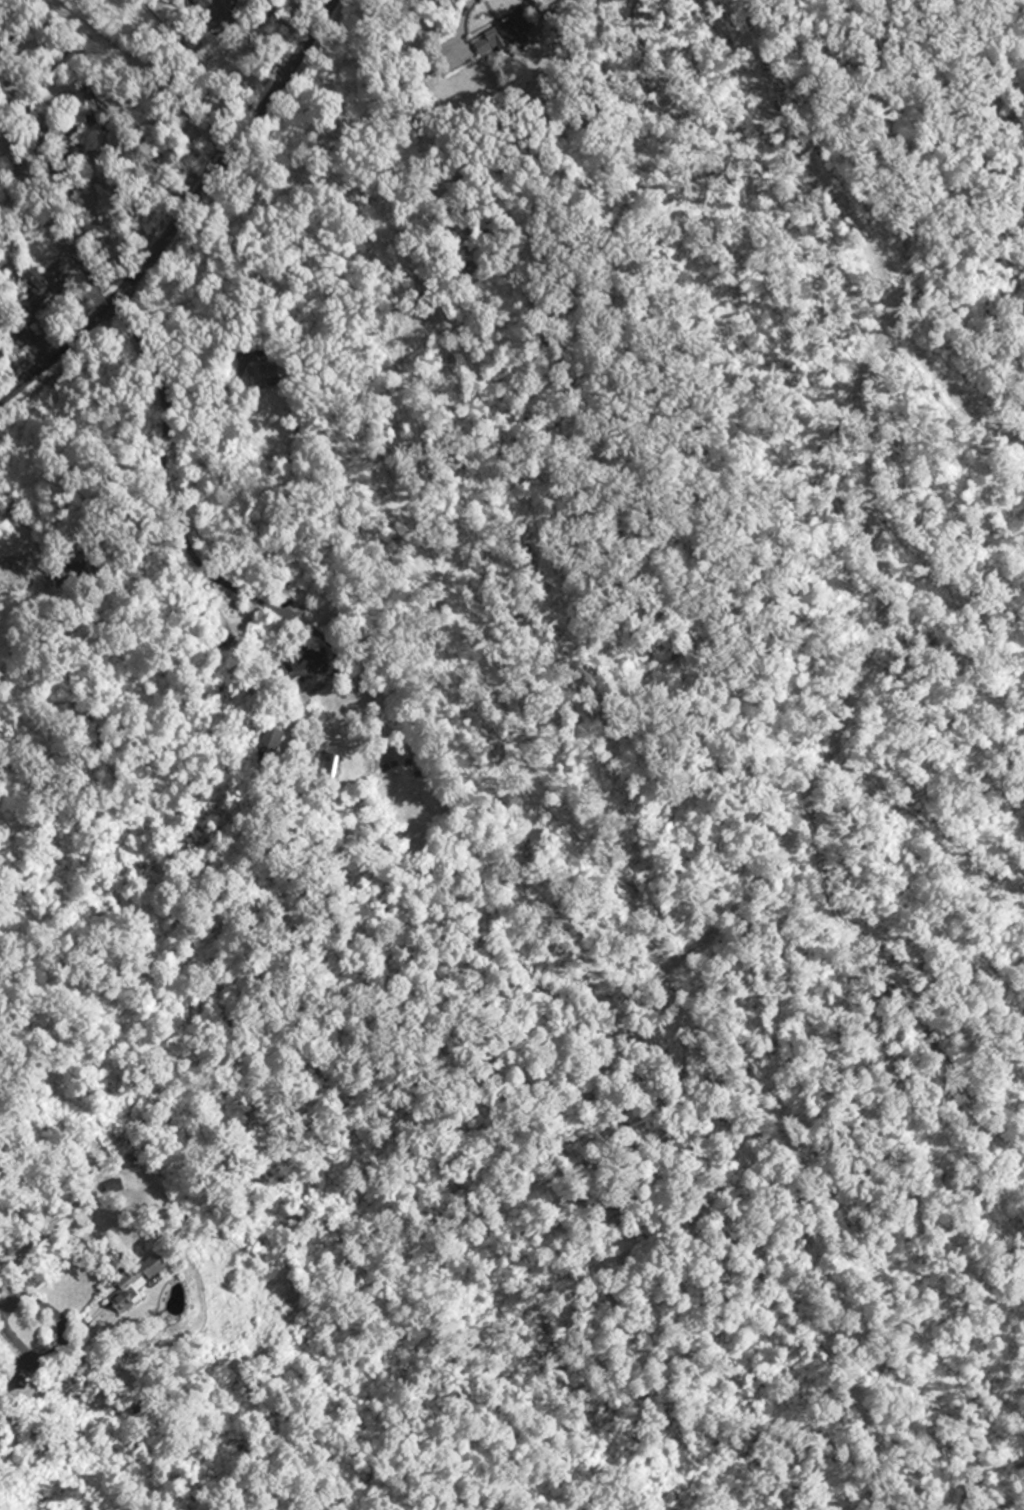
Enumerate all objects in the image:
building: (509, 35)
road: (183, 214)
building: (45, 290)
road: (140, 349)
road: (220, 580)
road: (38, 1275)
building: (152, 1276)
road: (2, 1279)

